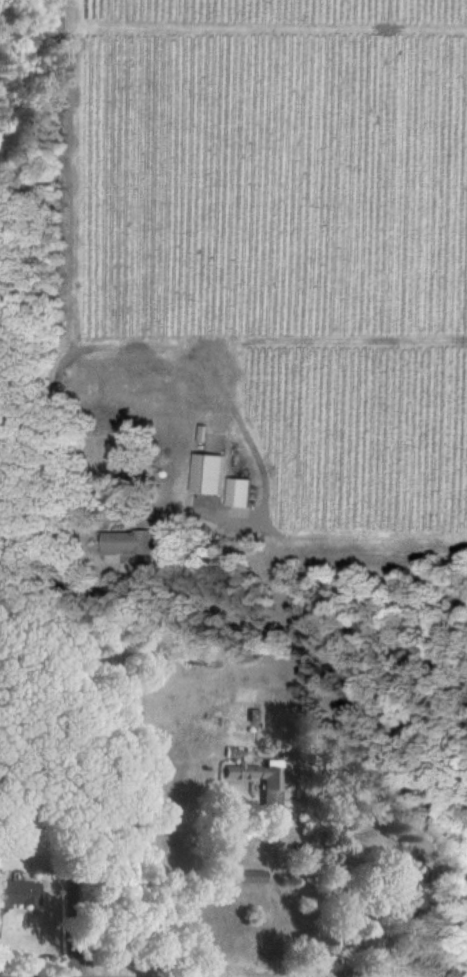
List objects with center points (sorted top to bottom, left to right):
building: (204, 474)
building: (236, 492)
building: (128, 542)
road: (59, 596)
building: (272, 793)
building: (251, 876)
building: (408, 891)
building: (16, 893)
road: (294, 910)

